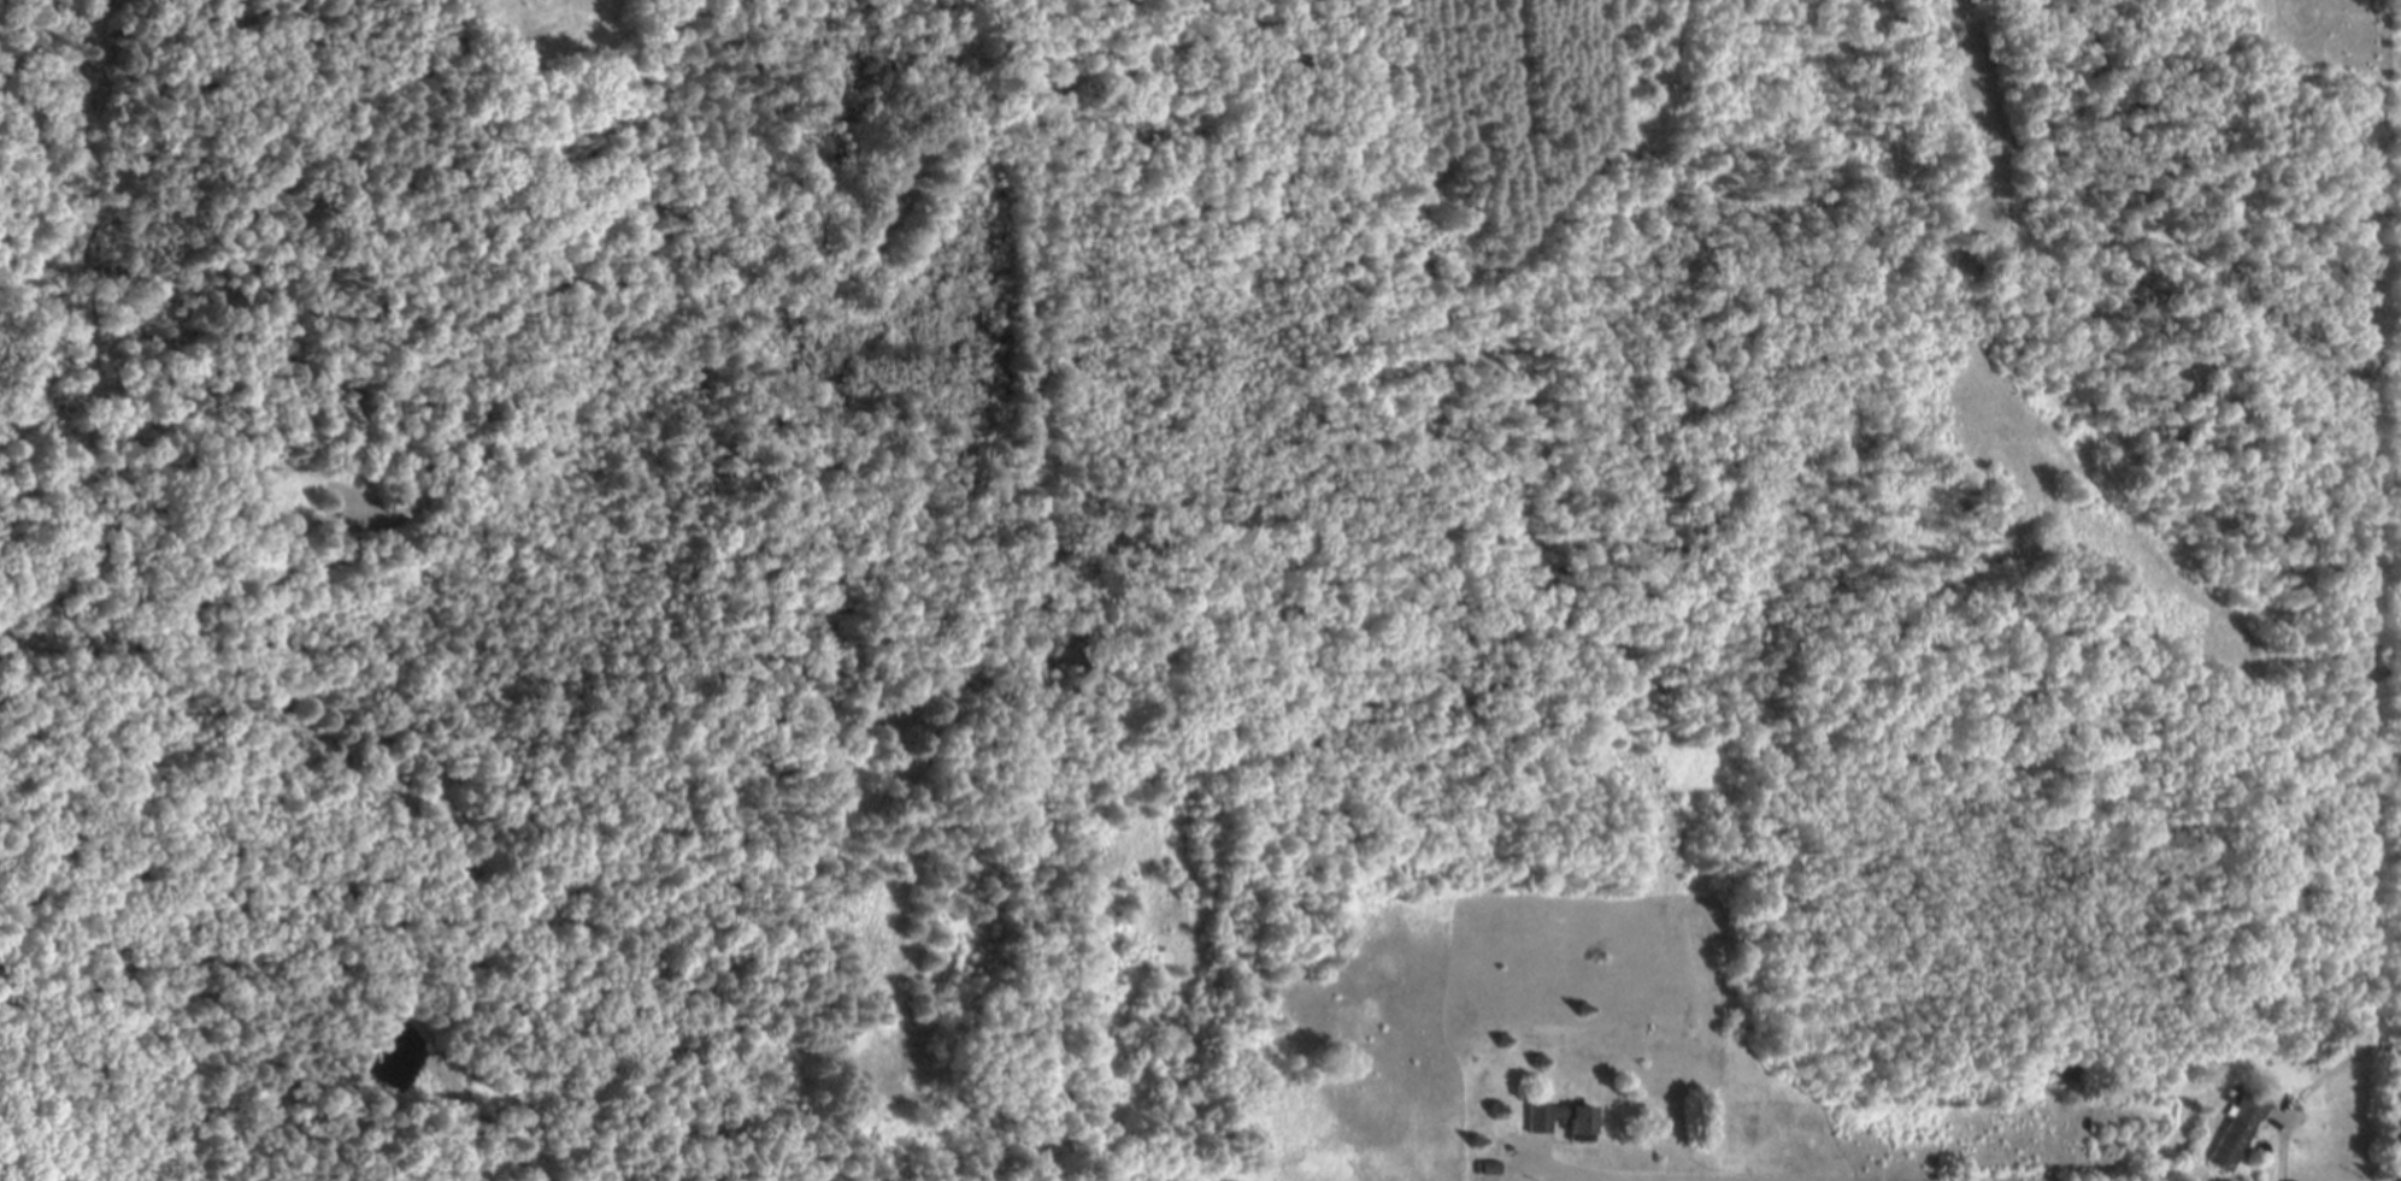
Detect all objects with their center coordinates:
building: (1541, 1120)
building: (1578, 1126)
building: (2237, 1132)
road: (2284, 1148)
road: (1635, 1177)

